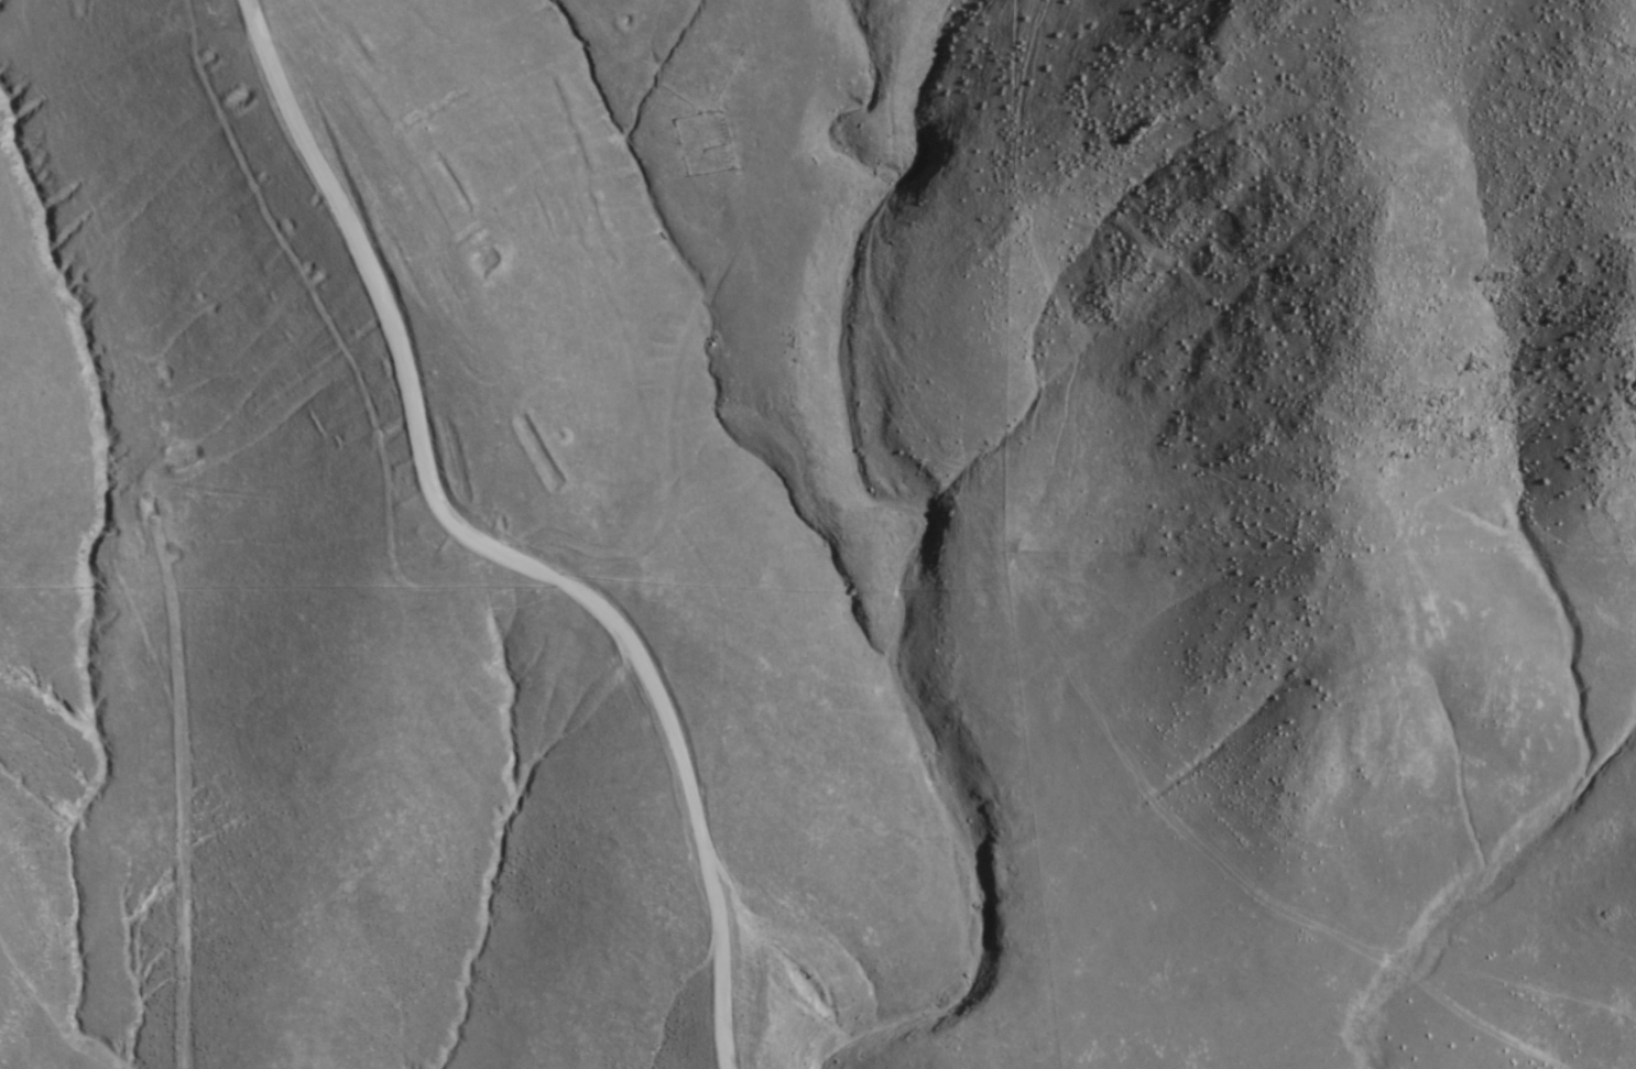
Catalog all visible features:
road: (664, 305)
road: (488, 543)

